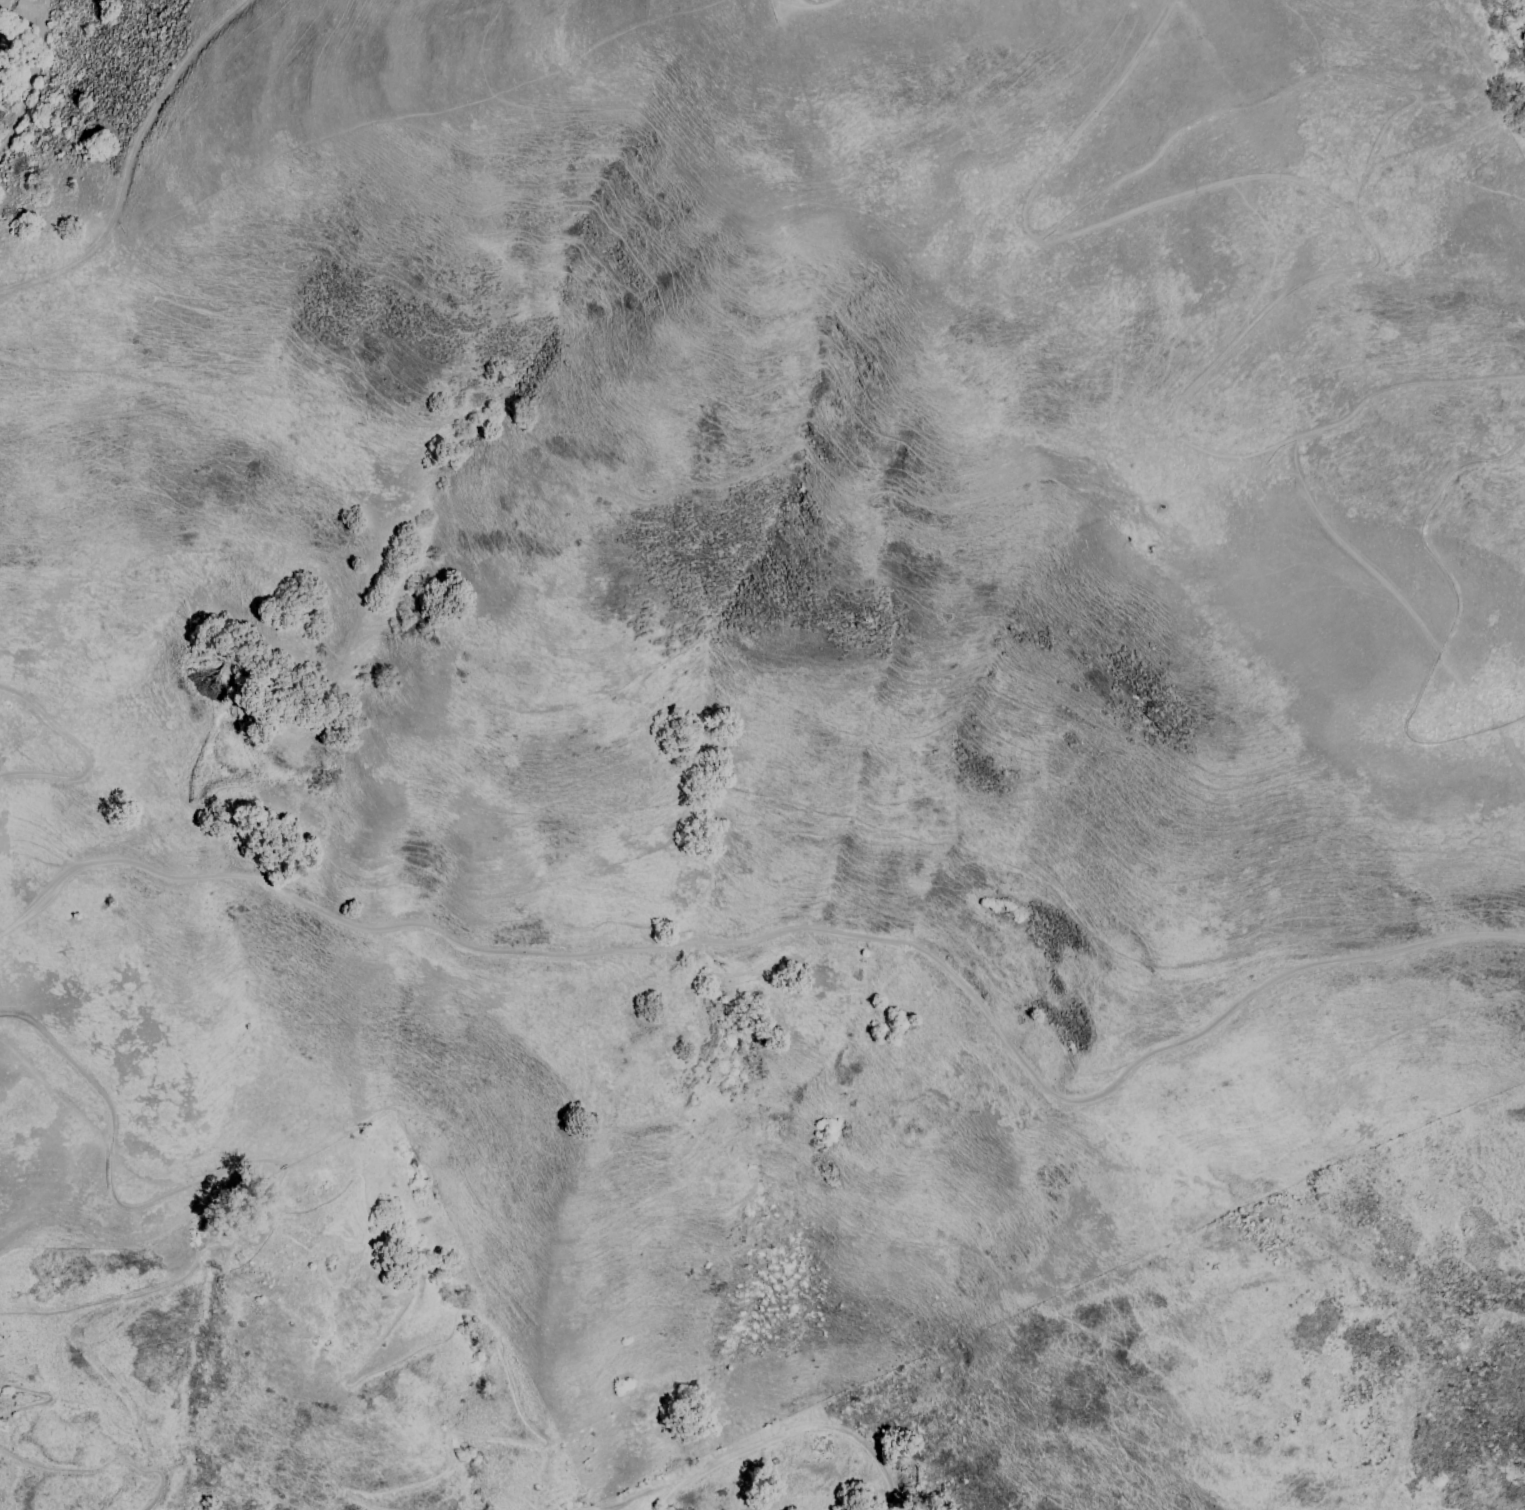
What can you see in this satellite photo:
road: (815, 7)
road: (1378, 143)
road: (131, 159)
road: (1449, 618)
road: (85, 754)
road: (796, 928)
road: (106, 1188)
park: (1293, 1235)
road: (117, 1237)
road: (151, 1289)
road: (452, 1328)
road: (44, 1401)
road: (808, 1433)
road: (112, 1465)
road: (673, 1494)
road: (633, 1496)

